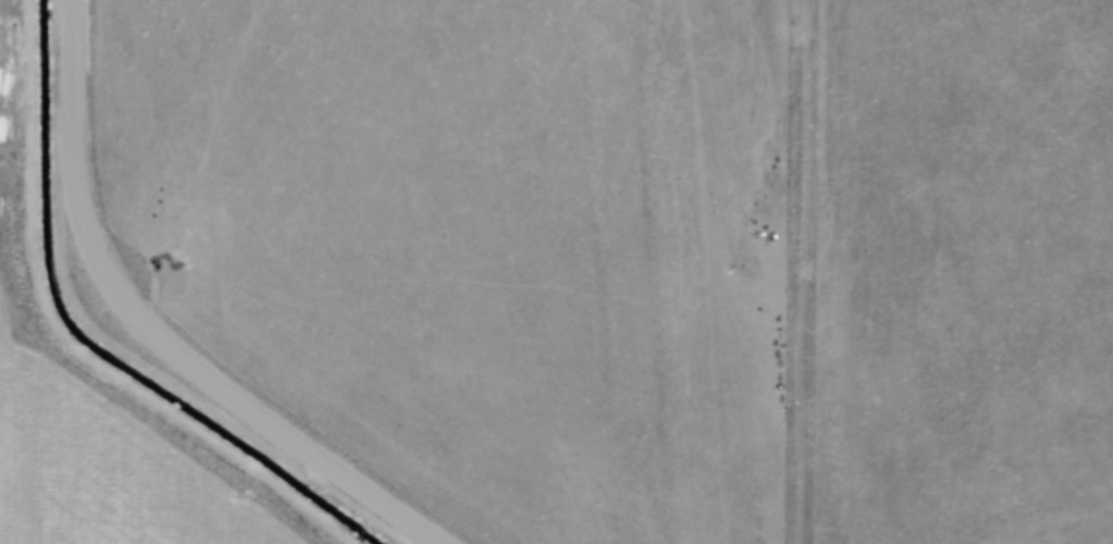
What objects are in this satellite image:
road: (157, 332)

